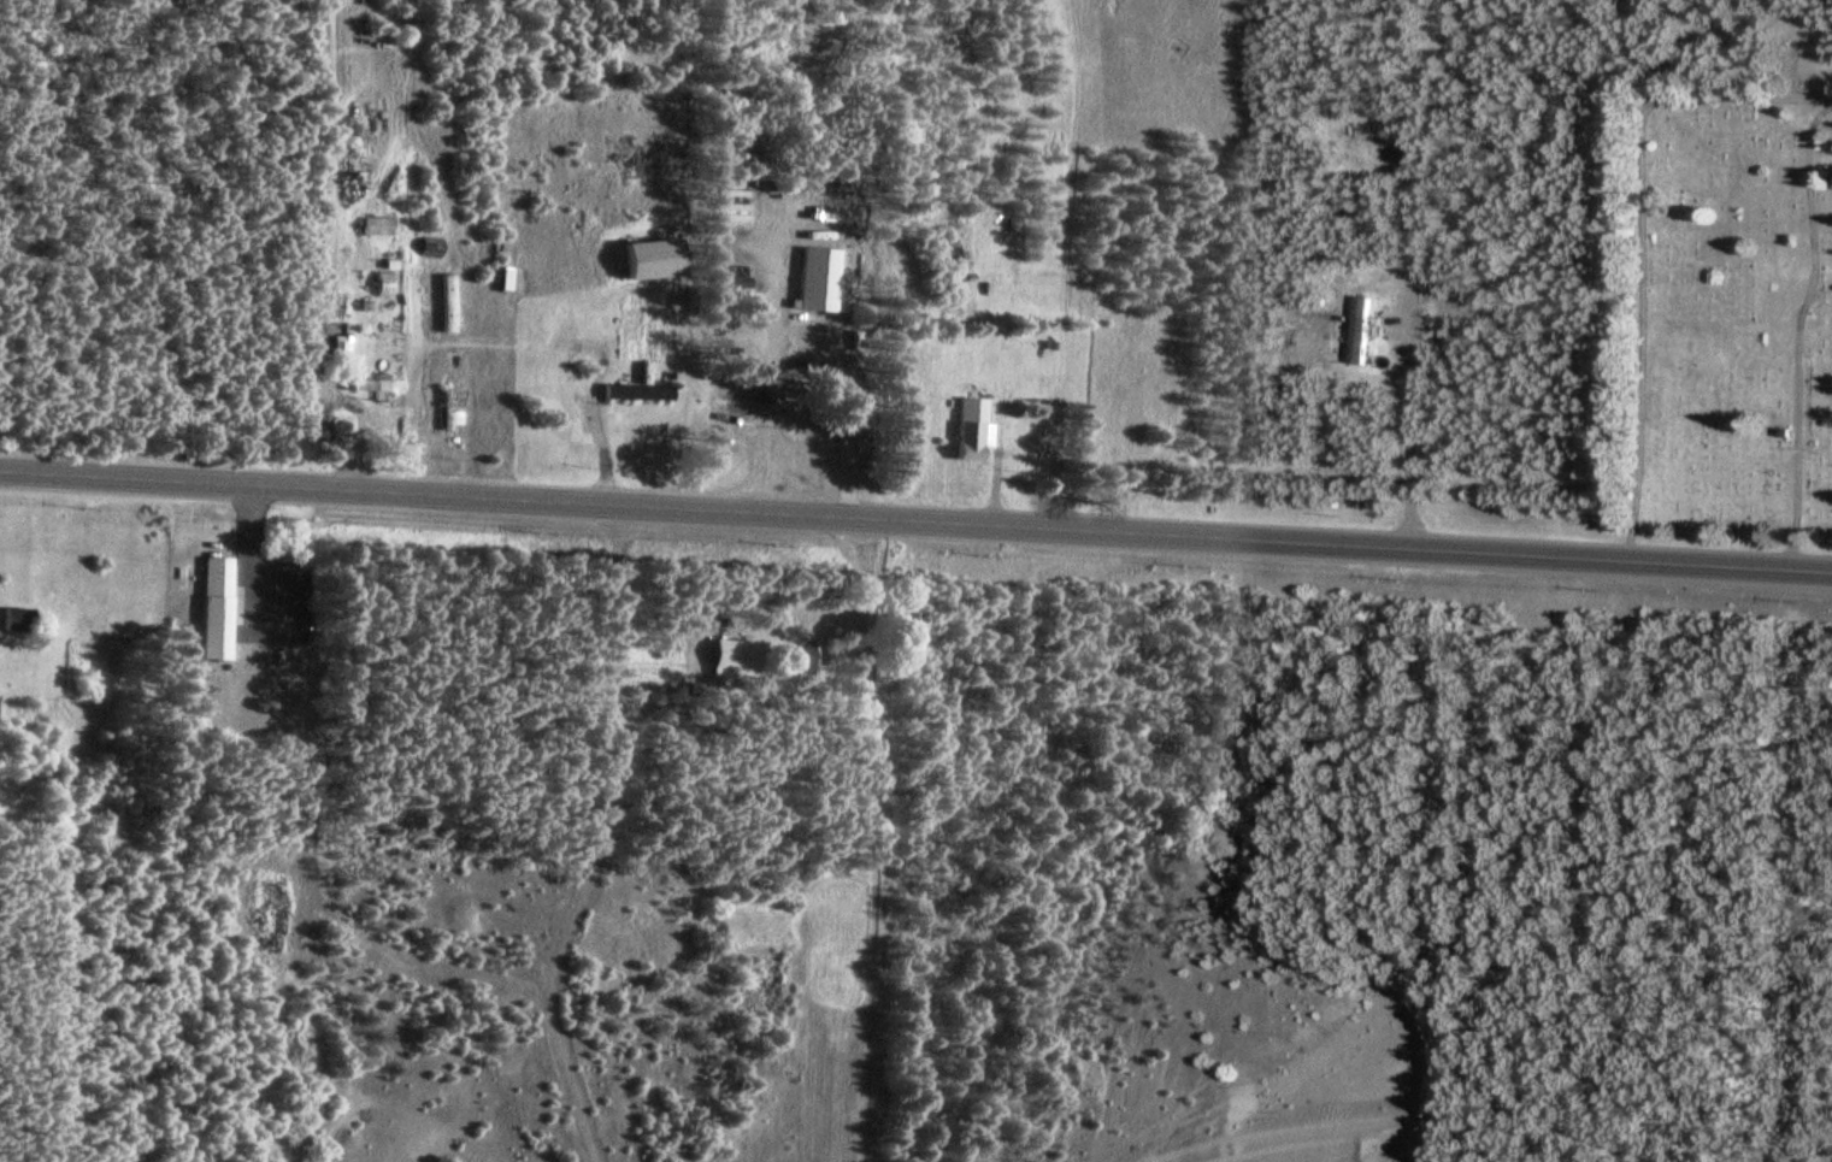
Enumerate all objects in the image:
road: (353, 94)
building: (1398, 154)
building: (741, 178)
road: (346, 214)
building: (371, 228)
road: (1640, 240)
building: (423, 250)
building: (384, 254)
building: (641, 254)
road: (1400, 255)
road: (1138, 266)
building: (805, 278)
building: (726, 281)
building: (377, 282)
road: (1821, 285)
building: (436, 305)
park: (1722, 309)
building: (1312, 314)
road: (1384, 328)
building: (1354, 330)
road: (1796, 331)
building: (1042, 344)
building: (335, 346)
building: (481, 347)
road: (765, 349)
road: (307, 361)
building: (367, 382)
building: (626, 393)
building: (844, 400)
building: (438, 411)
building: (961, 427)
building: (1783, 430)
road: (585, 438)
road: (1400, 440)
road: (463, 455)
road: (1048, 465)
road: (990, 470)
road: (838, 478)
road: (915, 524)
road: (241, 572)
road: (859, 584)
parking lot: (267, 591)
building: (207, 608)
building: (13, 618)
building: (730, 656)
building: (803, 656)
road: (595, 839)

